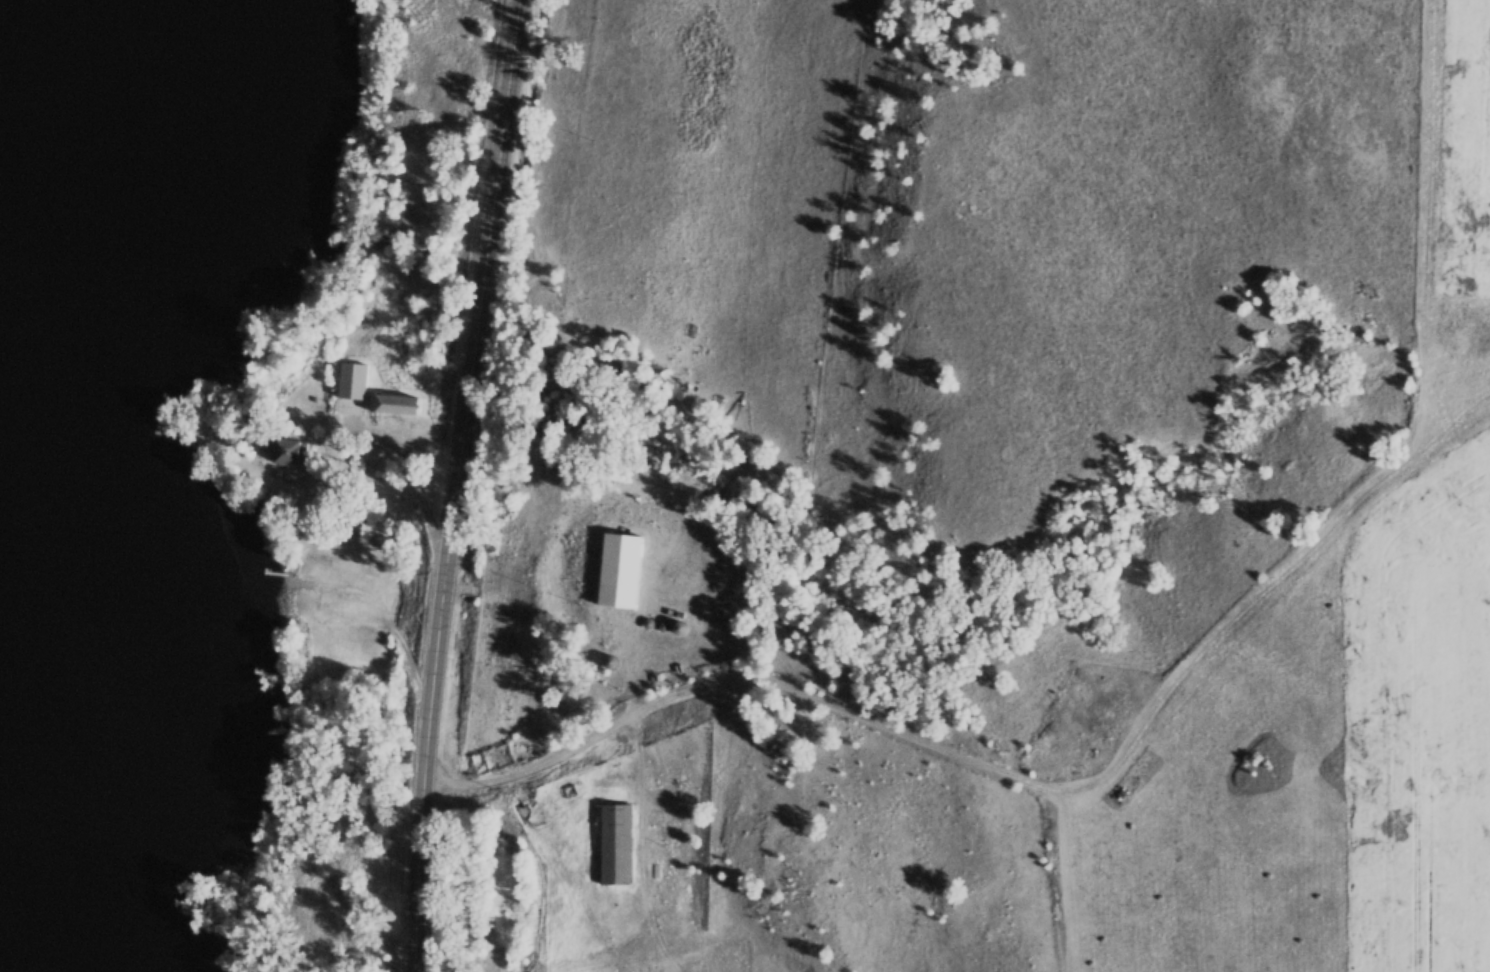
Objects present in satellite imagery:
building: (351, 382)
building: (389, 408)
building: (288, 453)
road: (458, 485)
building: (506, 541)
building: (308, 570)
building: (617, 572)
pier: (277, 576)
road: (377, 609)
road: (1018, 739)
building: (613, 844)

